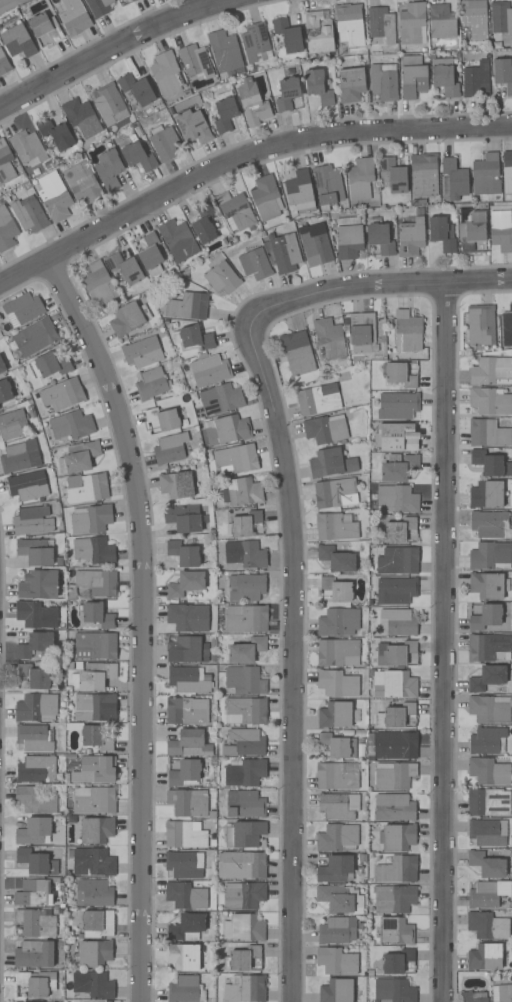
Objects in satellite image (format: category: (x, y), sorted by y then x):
building: (134, 0)
building: (99, 7)
building: (74, 17)
building: (501, 18)
building: (473, 20)
building: (441, 21)
building: (349, 24)
building: (381, 24)
building: (412, 24)
building: (42, 27)
building: (318, 32)
building: (288, 35)
building: (18, 41)
building: (254, 41)
road: (116, 47)
building: (225, 50)
building: (195, 61)
building: (4, 63)
building: (165, 73)
building: (503, 73)
building: (412, 76)
building: (444, 77)
building: (476, 80)
building: (383, 82)
building: (351, 84)
building: (318, 87)
building: (137, 89)
building: (287, 93)
building: (252, 102)
building: (110, 104)
building: (224, 111)
building: (81, 117)
building: (192, 126)
building: (55, 133)
building: (164, 142)
building: (27, 146)
building: (136, 155)
road: (241, 161)
building: (5, 164)
building: (109, 169)
building: (507, 171)
building: (486, 174)
building: (392, 175)
building: (424, 175)
building: (455, 179)
building: (360, 180)
building: (82, 183)
building: (328, 185)
building: (300, 192)
building: (54, 196)
building: (266, 198)
building: (236, 210)
building: (29, 214)
building: (204, 223)
building: (6, 230)
building: (501, 230)
building: (472, 231)
building: (442, 233)
building: (379, 236)
building: (349, 237)
building: (411, 237)
building: (314, 239)
building: (178, 240)
building: (282, 252)
building: (150, 256)
building: (255, 264)
building: (124, 268)
building: (222, 278)
building: (97, 283)
road: (363, 286)
building: (186, 305)
building: (509, 307)
building: (22, 309)
building: (128, 318)
building: (481, 325)
building: (507, 329)
building: (407, 331)
building: (363, 335)
building: (35, 337)
building: (196, 338)
building: (329, 338)
building: (142, 352)
building: (297, 352)
building: (49, 365)
building: (2, 366)
building: (209, 370)
building: (491, 371)
building: (398, 375)
building: (151, 383)
building: (5, 391)
building: (62, 393)
building: (318, 398)
building: (220, 399)
building: (489, 401)
building: (397, 406)
building: (163, 418)
building: (13, 425)
building: (71, 425)
building: (326, 429)
building: (228, 430)
building: (487, 433)
building: (398, 437)
building: (170, 448)
building: (18, 457)
building: (78, 457)
building: (236, 459)
building: (331, 463)
building: (490, 463)
building: (398, 467)
building: (28, 485)
building: (176, 485)
building: (85, 488)
building: (242, 491)
building: (335, 493)
building: (486, 494)
building: (396, 499)
building: (91, 519)
building: (184, 519)
building: (32, 521)
building: (242, 524)
building: (490, 524)
building: (336, 526)
building: (398, 530)
building: (93, 550)
building: (36, 551)
building: (184, 554)
building: (245, 554)
building: (490, 556)
building: (336, 559)
building: (59, 561)
building: (397, 561)
building: (95, 583)
building: (185, 583)
building: (38, 584)
building: (488, 585)
building: (246, 587)
building: (336, 589)
building: (397, 590)
building: (36, 615)
building: (98, 615)
building: (188, 617)
building: (486, 617)
building: (246, 618)
building: (338, 622)
building: (397, 622)
road: (142, 623)
road: (446, 642)
building: (34, 644)
building: (213, 644)
building: (93, 646)
building: (488, 647)
building: (187, 649)
building: (246, 650)
building: (337, 652)
building: (394, 653)
building: (213, 656)
road: (290, 670)
building: (94, 676)
building: (32, 677)
building: (488, 678)
building: (187, 680)
building: (244, 681)
building: (338, 682)
building: (393, 683)
building: (36, 707)
building: (92, 707)
building: (489, 709)
building: (186, 710)
building: (245, 710)
building: (337, 715)
building: (394, 715)
building: (361, 734)
building: (33, 738)
building: (96, 738)
building: (487, 740)
building: (245, 743)
building: (189, 744)
building: (396, 745)
building: (338, 746)
building: (82, 768)
building: (36, 769)
building: (99, 770)
building: (488, 771)
building: (244, 772)
building: (186, 773)
building: (393, 775)
building: (336, 776)
building: (34, 800)
building: (94, 800)
building: (188, 802)
building: (488, 802)
building: (244, 804)
building: (338, 806)
building: (394, 807)
building: (211, 814)
building: (96, 830)
building: (33, 831)
building: (486, 832)
building: (184, 834)
building: (244, 834)
building: (398, 837)
building: (337, 838)
building: (362, 858)
building: (36, 862)
building: (93, 862)
building: (184, 864)
building: (486, 864)
building: (241, 865)
building: (335, 869)
building: (397, 870)
building: (511, 875)
building: (31, 893)
building: (93, 893)
building: (487, 894)
building: (187, 895)
building: (243, 895)
building: (393, 898)
building: (340, 899)
building: (36, 922)
building: (97, 923)
building: (487, 925)
building: (186, 927)
building: (244, 928)
building: (337, 930)
building: (394, 931)
building: (33, 954)
building: (92, 954)
building: (182, 956)
building: (484, 957)
building: (241, 958)
building: (337, 960)
building: (396, 961)
building: (362, 973)
building: (370, 973)
building: (37, 983)
building: (93, 984)
building: (185, 989)
building: (245, 990)
building: (394, 990)
building: (336, 991)
building: (504, 993)
building: (473, 997)

